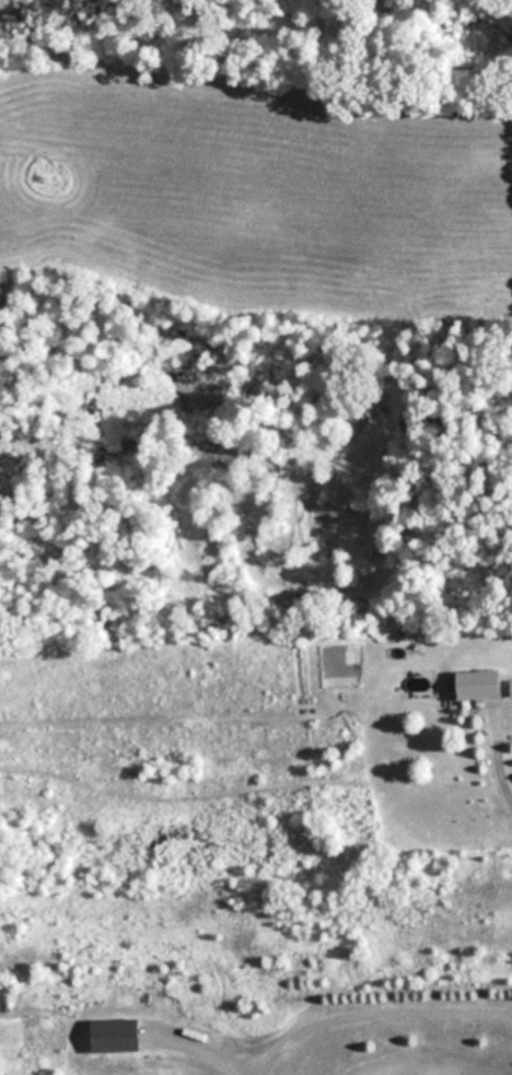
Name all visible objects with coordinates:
building: (482, 685)
road: (499, 752)
road: (369, 1001)
building: (118, 1036)

